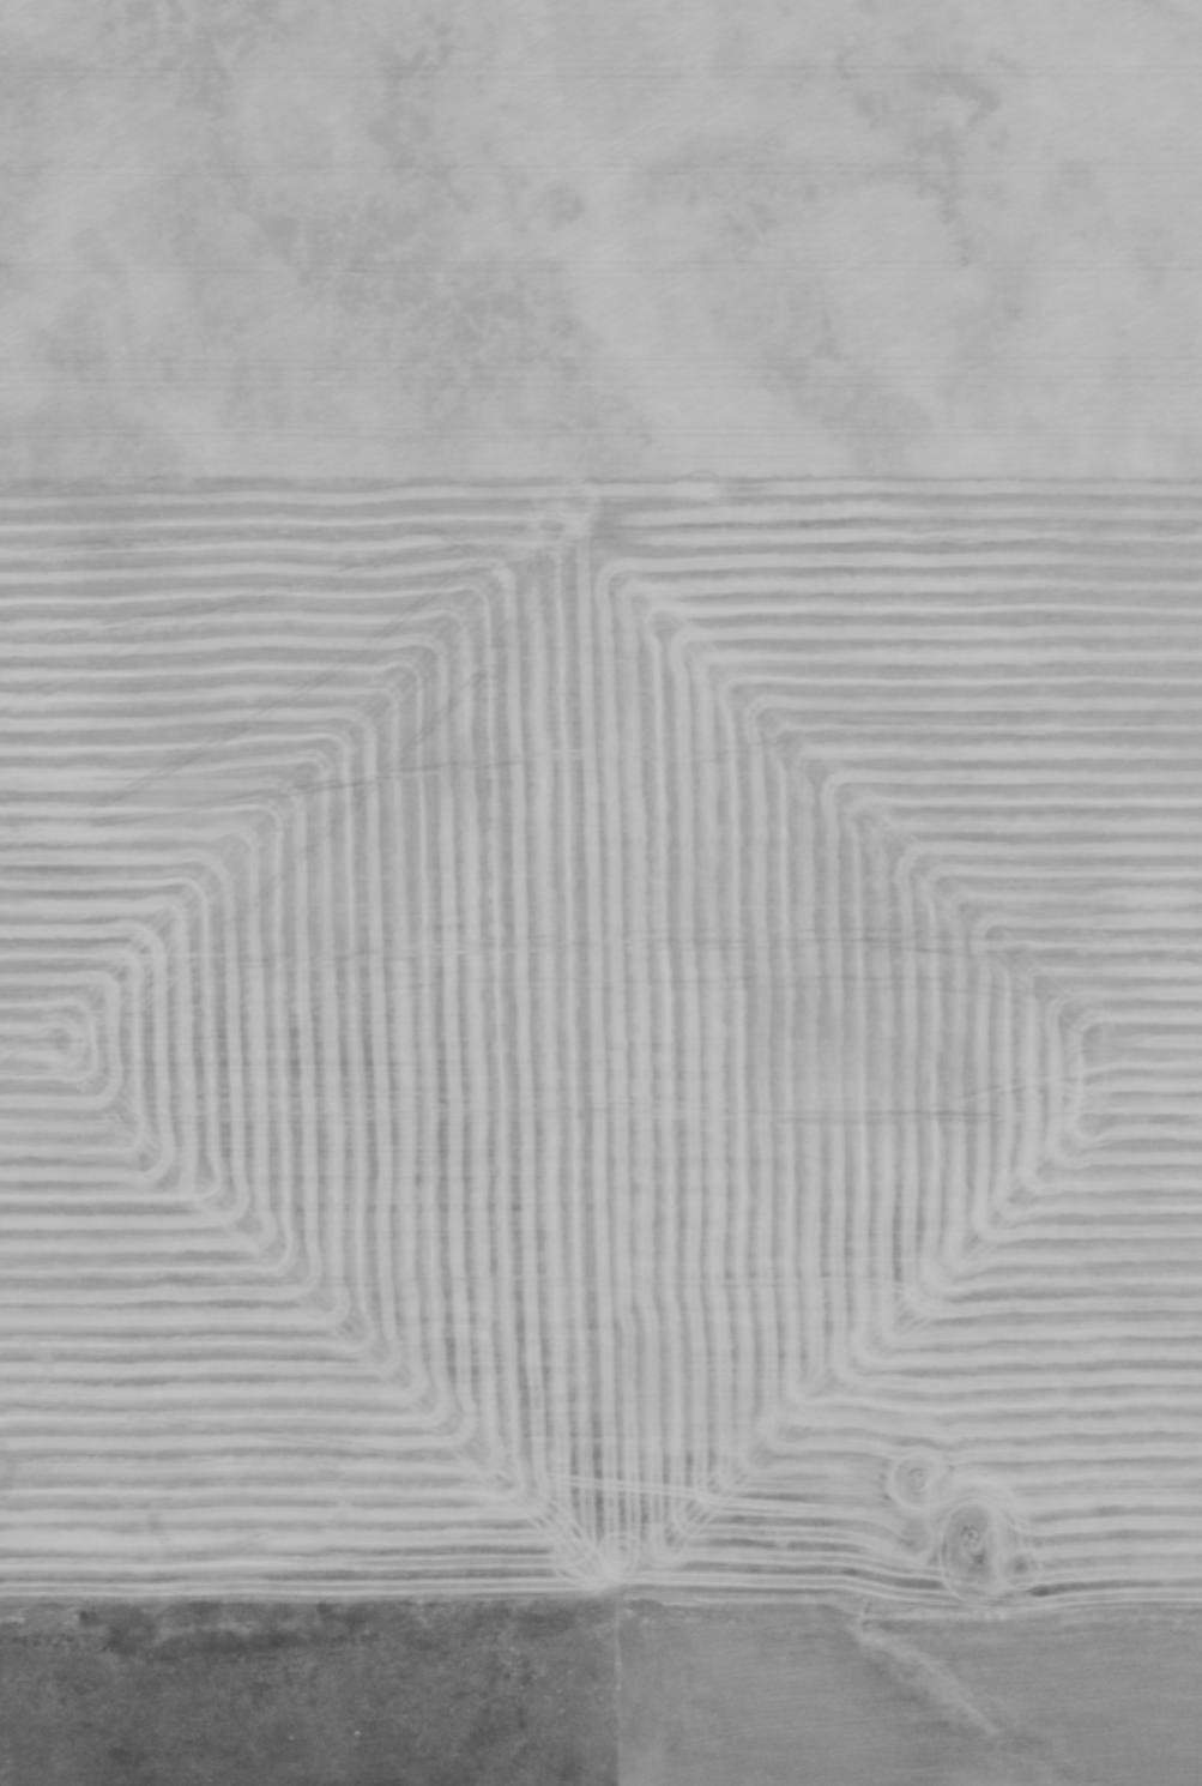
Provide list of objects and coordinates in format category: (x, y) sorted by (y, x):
crop: (617, 845)

